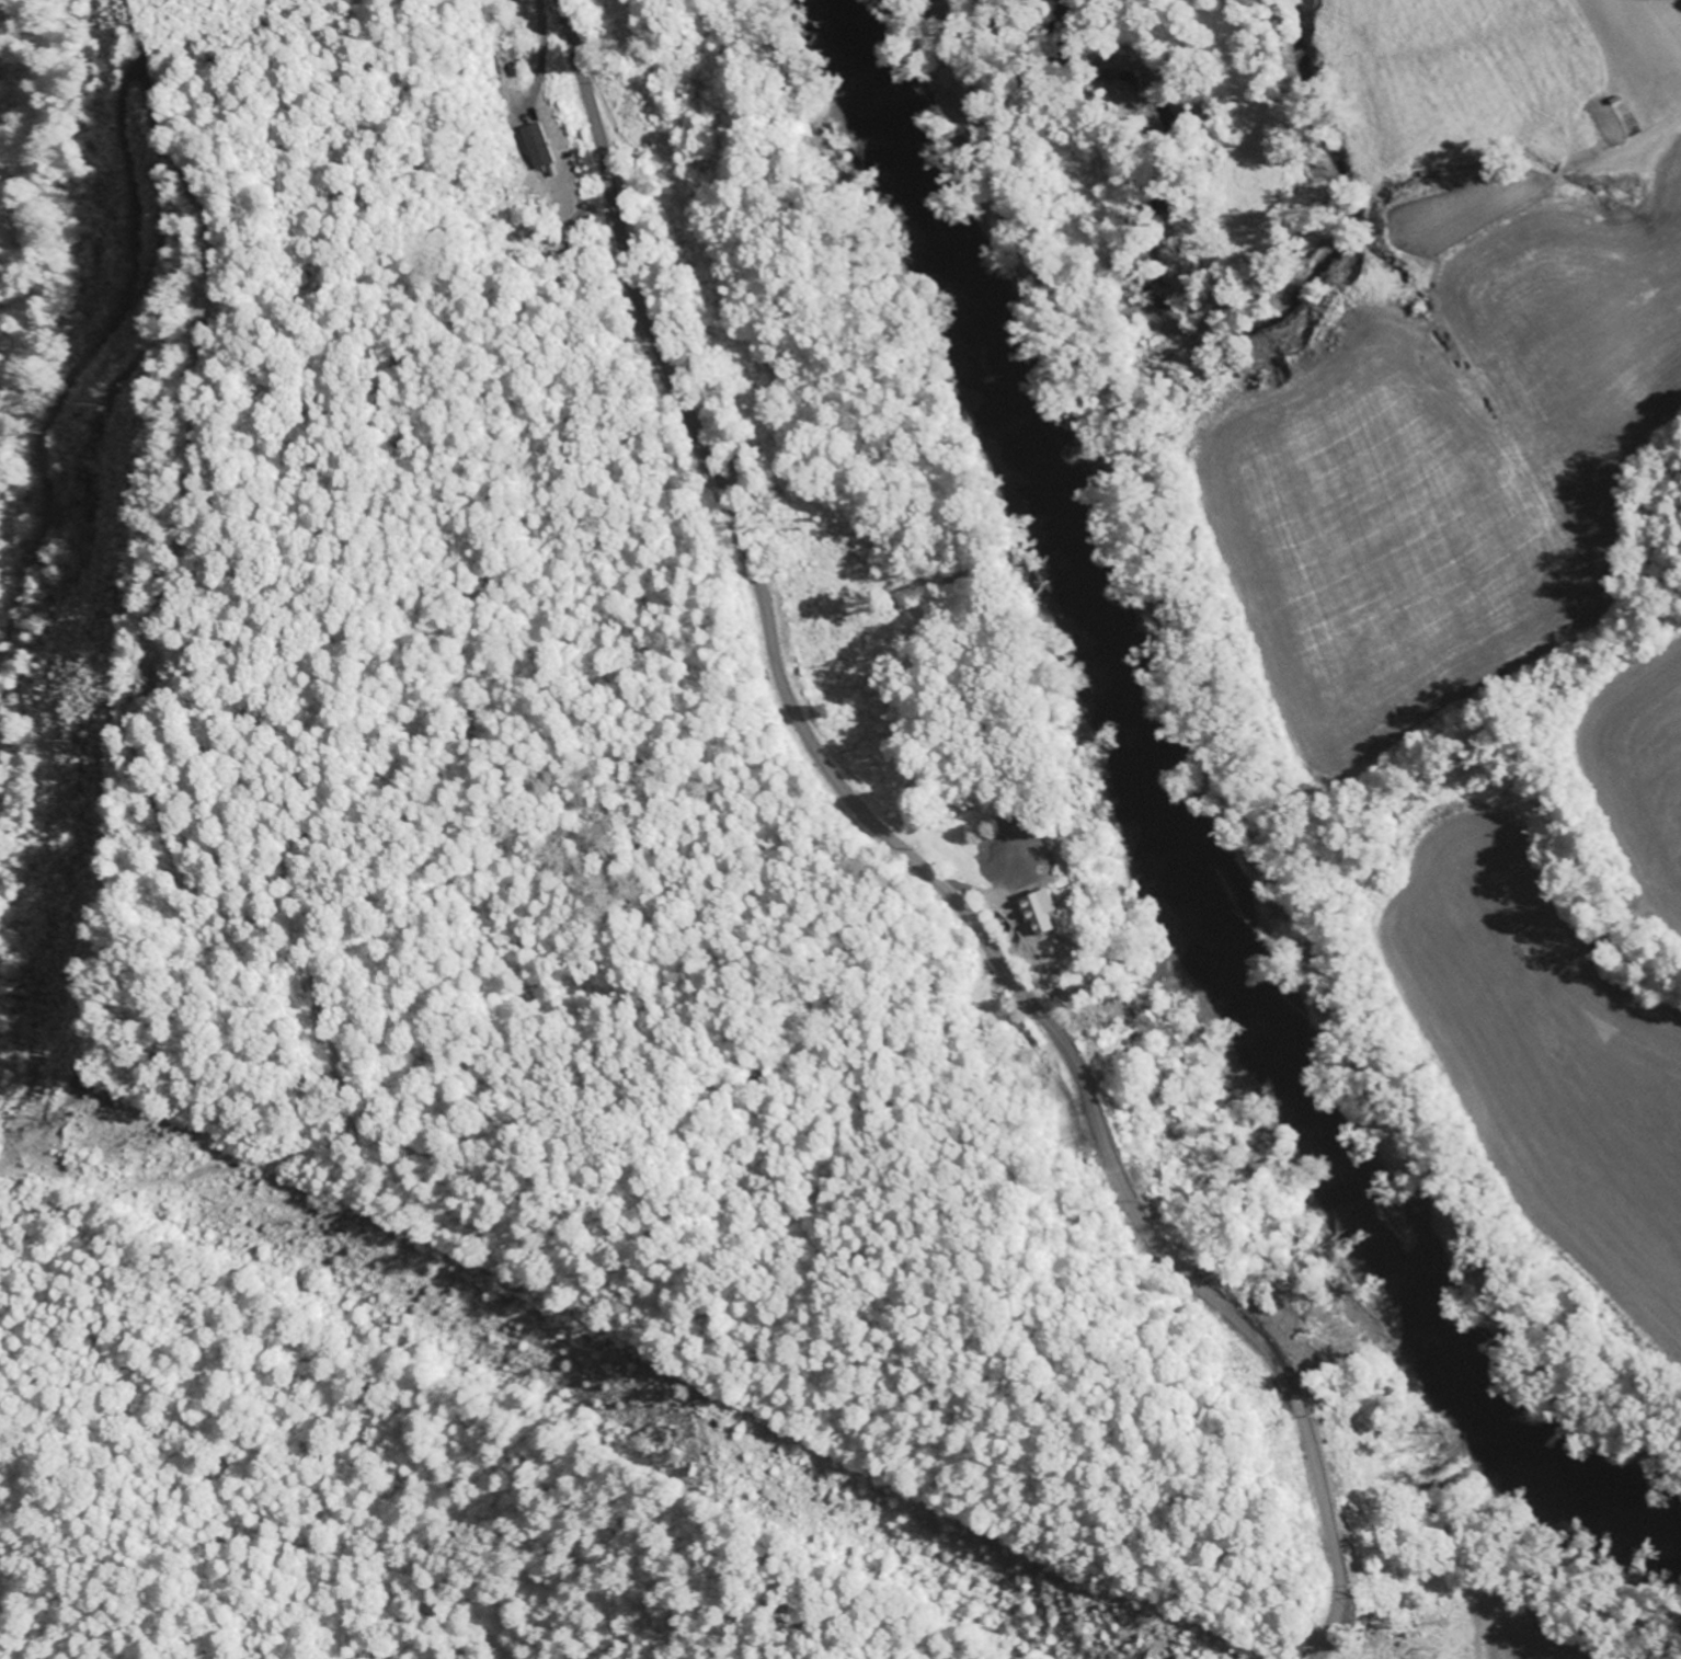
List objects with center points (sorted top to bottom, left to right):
building: (536, 145)
river: (1179, 816)
road: (912, 858)

